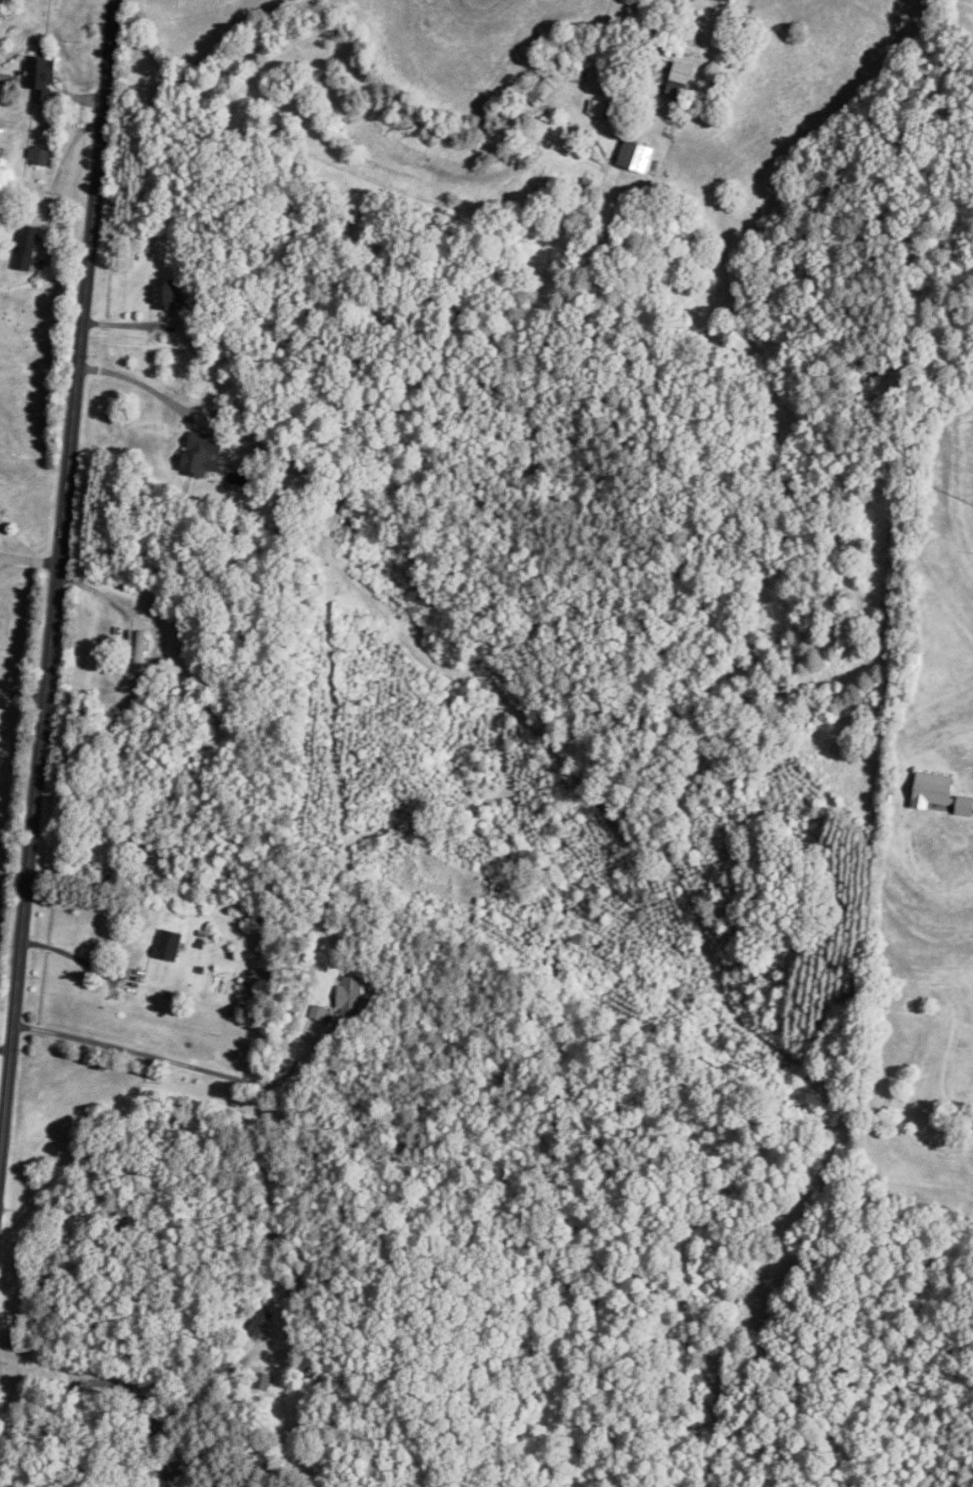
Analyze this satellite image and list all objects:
building: (728, 0)
building: (42, 79)
building: (681, 82)
building: (548, 88)
building: (609, 112)
building: (41, 157)
building: (637, 158)
building: (27, 248)
building: (168, 295)
road: (143, 390)
road: (28, 553)
road: (55, 581)
road: (100, 587)
building: (141, 652)
building: (169, 946)
road: (79, 957)
building: (354, 998)
road: (179, 1062)
building: (263, 1381)

